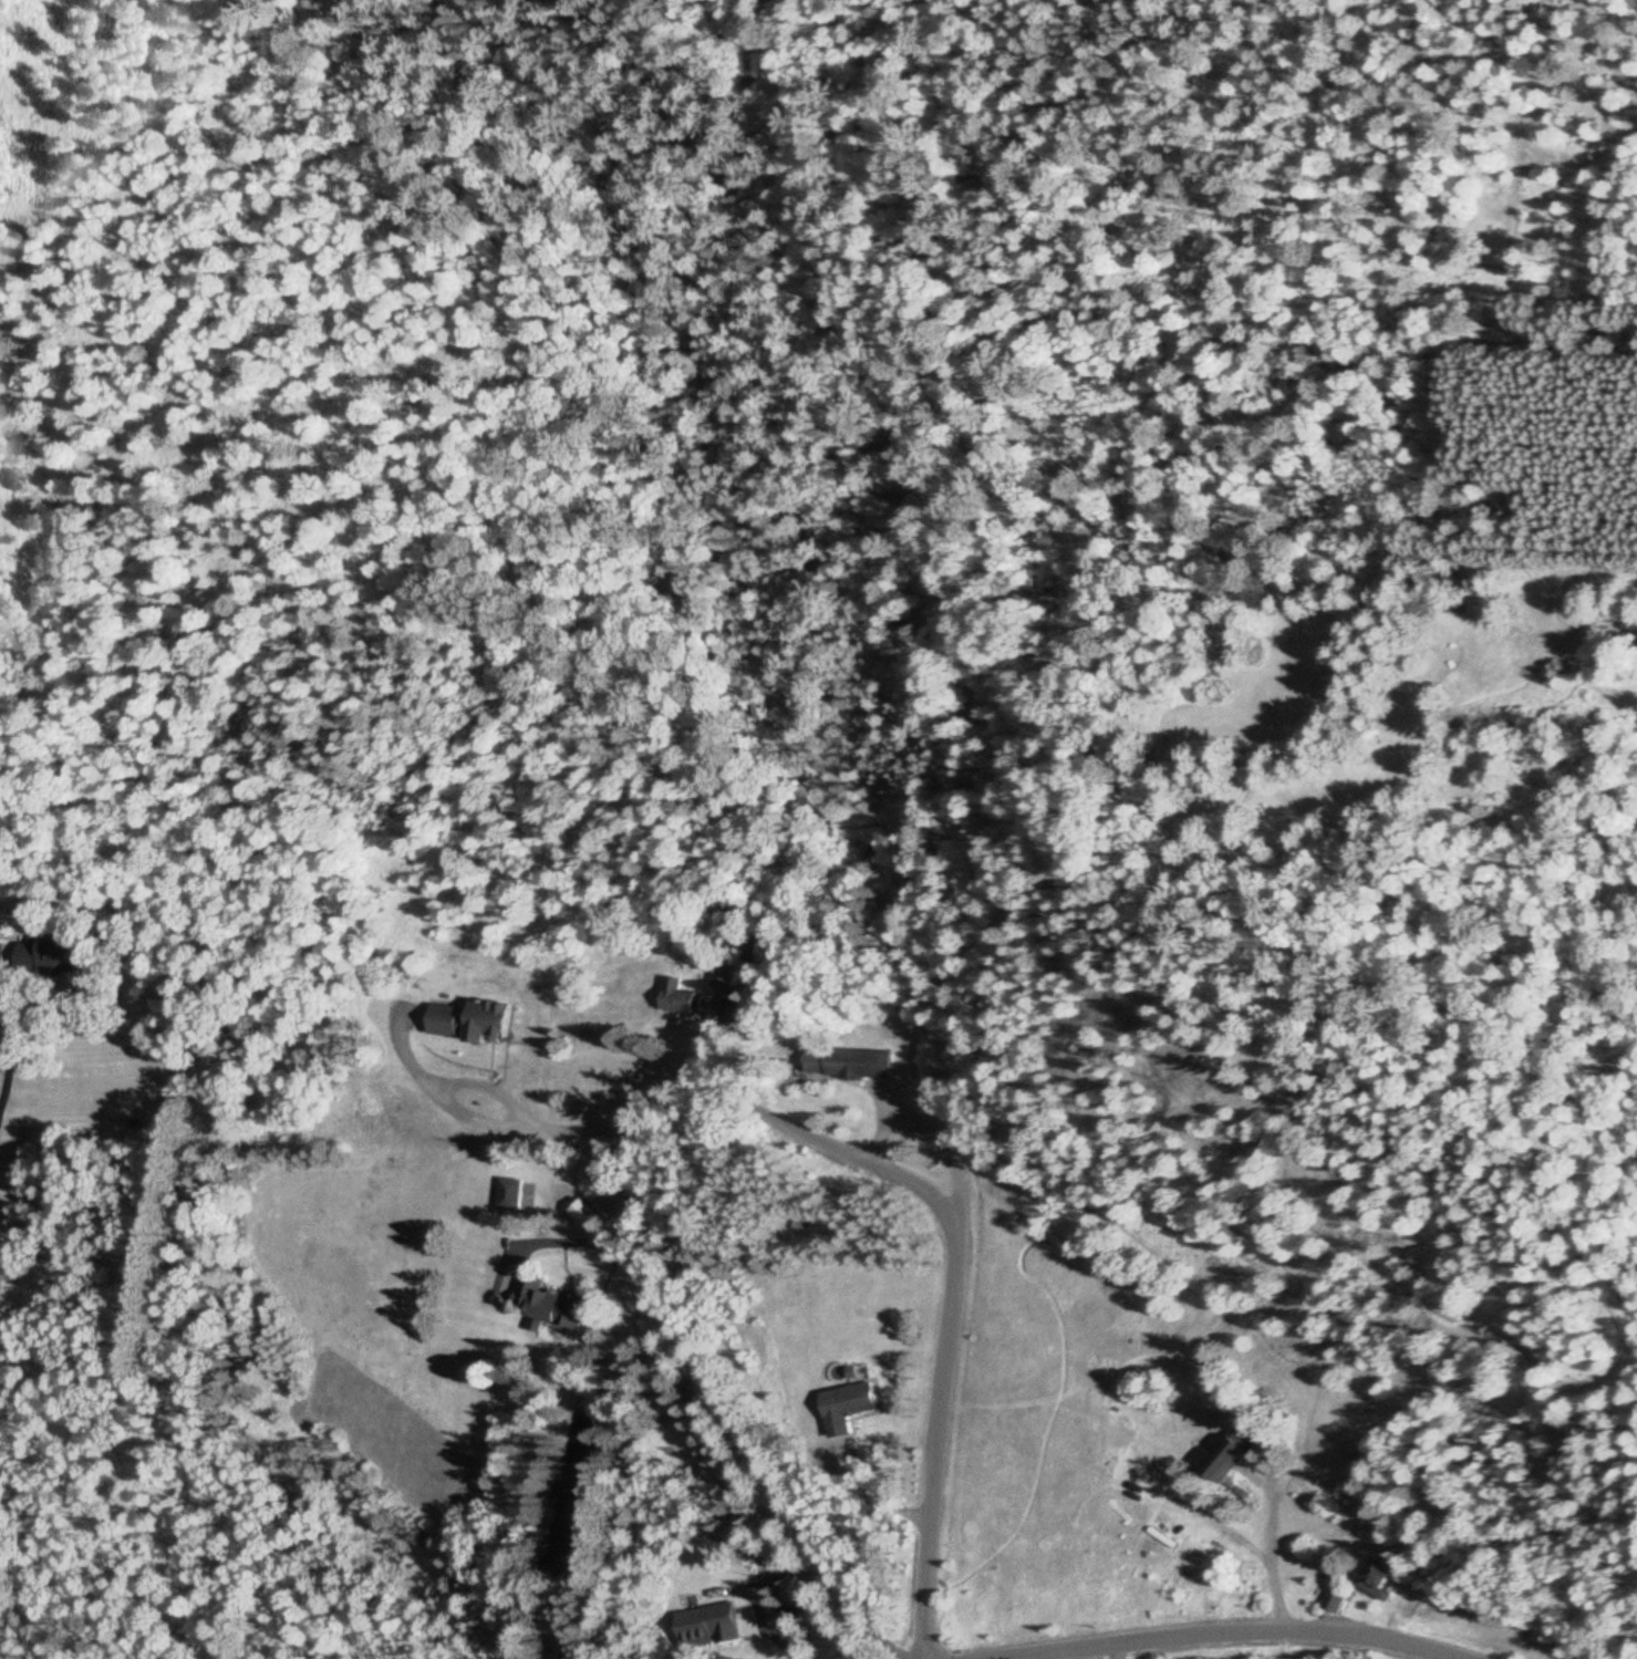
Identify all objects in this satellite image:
building: (41, 960)
building: (673, 999)
building: (443, 1022)
building: (485, 1023)
building: (842, 1066)
building: (508, 1196)
building: (588, 1219)
road: (947, 1294)
building: (552, 1306)
building: (846, 1409)
building: (1227, 1465)
road: (1265, 1549)
building: (1376, 1578)
building: (1335, 1604)
road: (1226, 1634)

